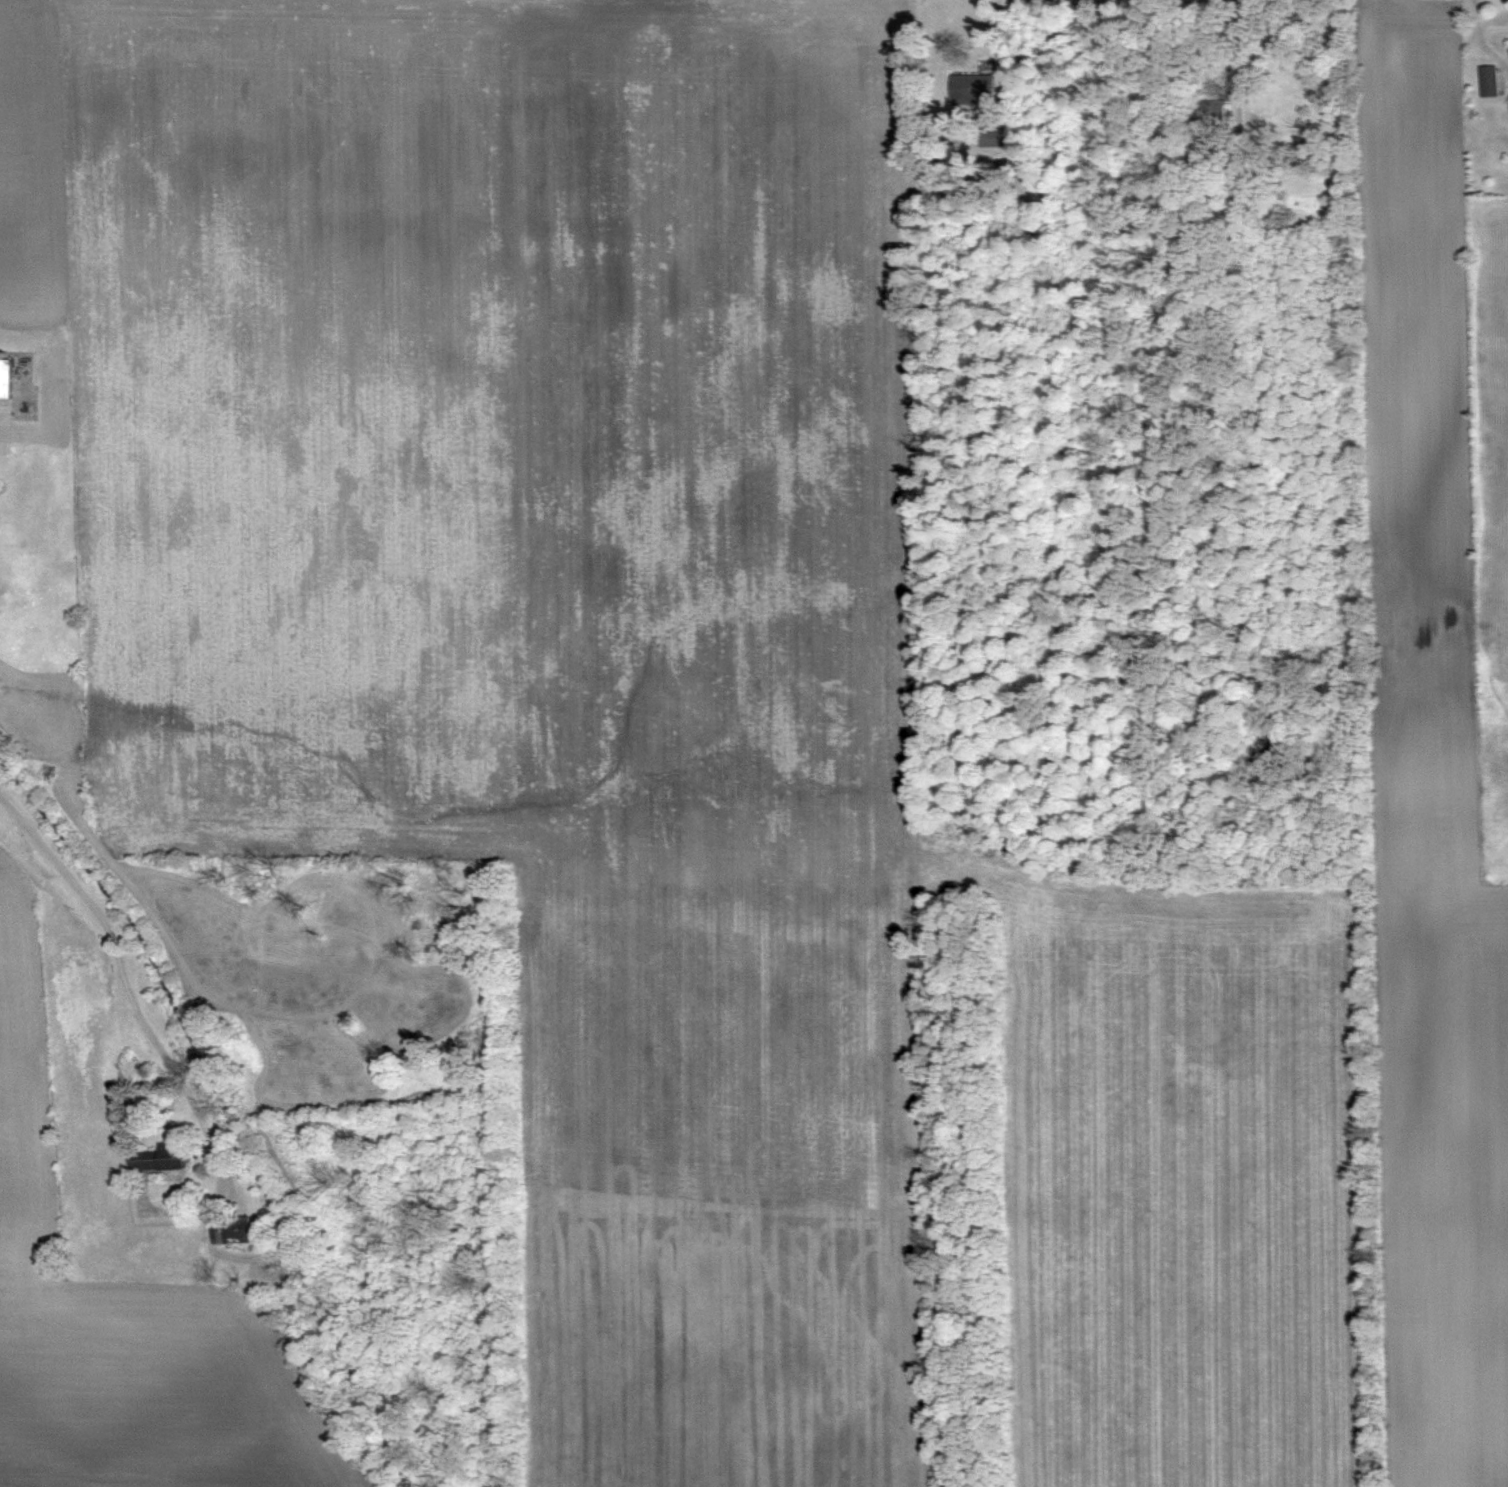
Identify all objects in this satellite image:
road: (998, 47)
road: (1237, 58)
building: (1489, 81)
building: (975, 93)
building: (990, 136)
building: (5, 379)
road: (130, 970)
building: (157, 1157)
building: (230, 1229)

